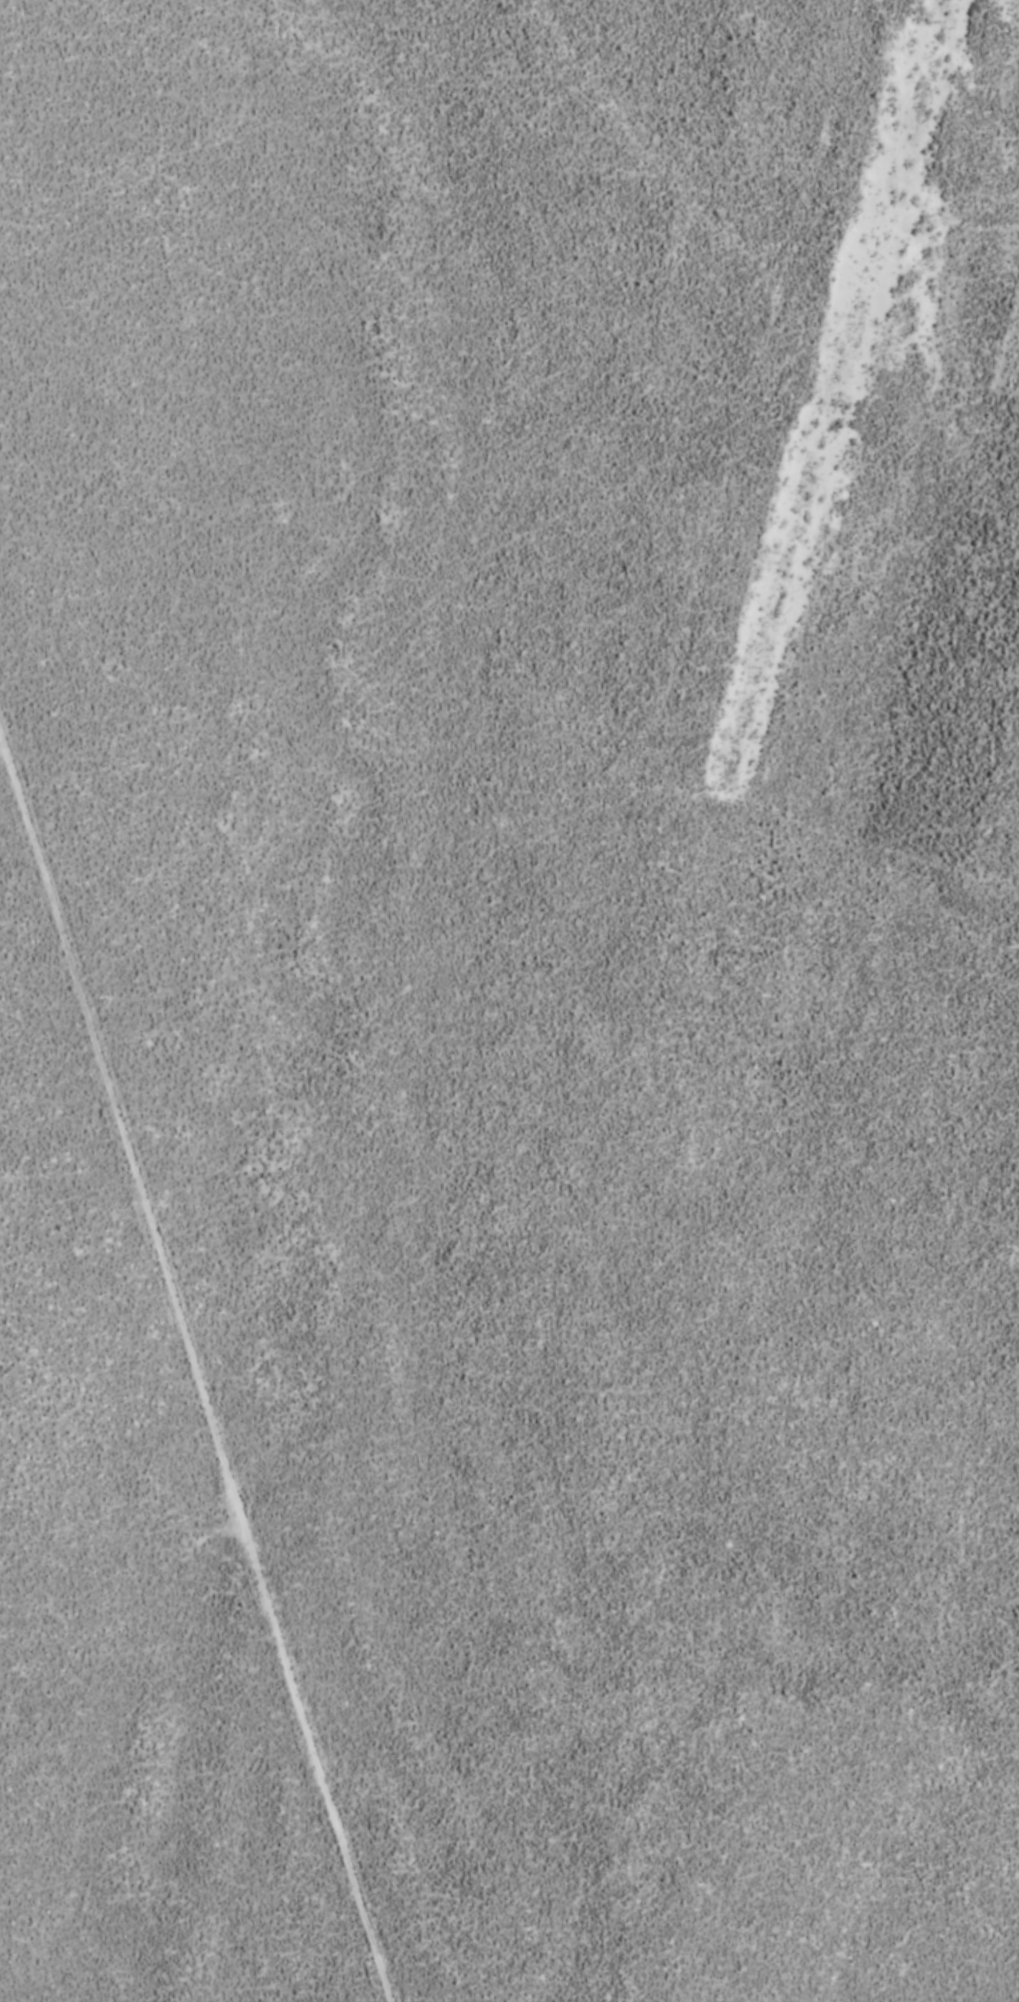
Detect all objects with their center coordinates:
road: (195, 1367)

